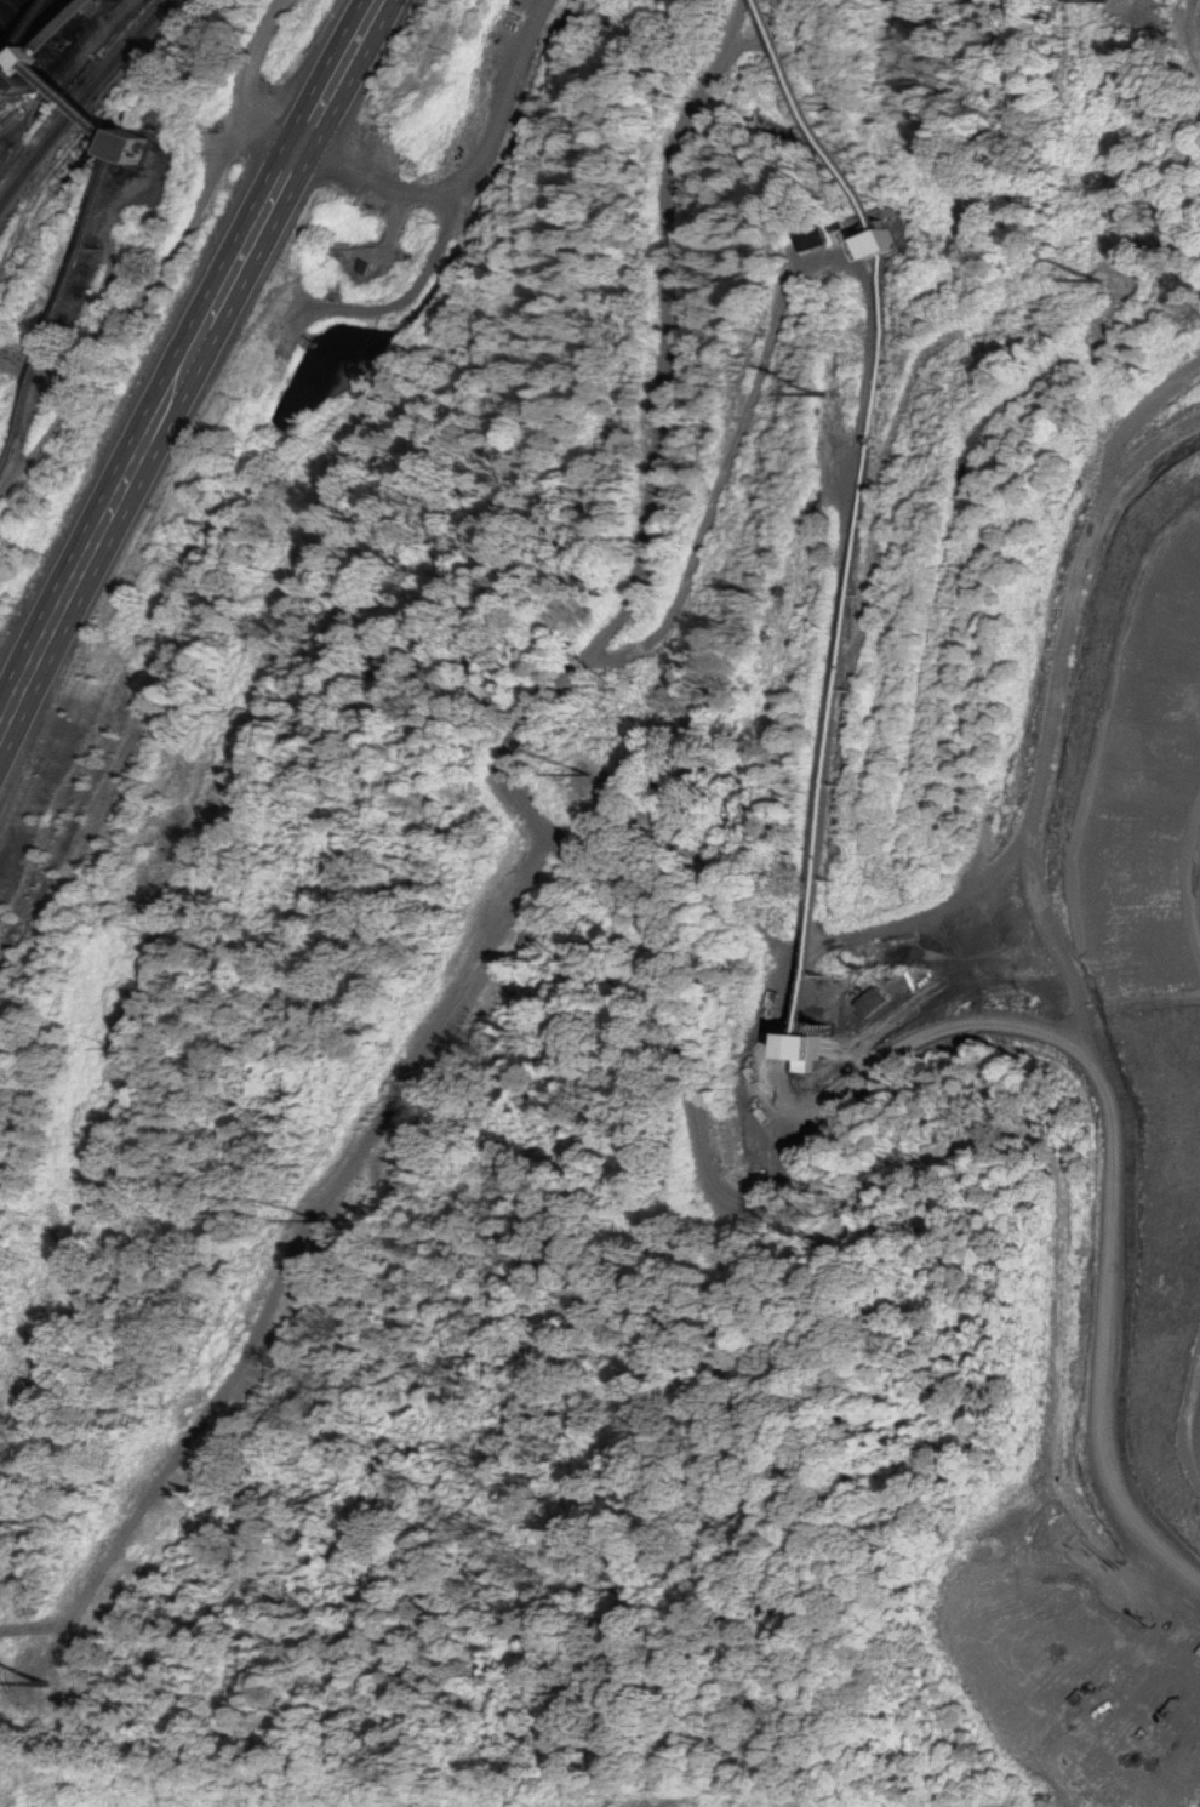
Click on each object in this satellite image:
road: (1189, 34)
railway: (80, 99)
building: (158, 146)
road: (463, 171)
road: (188, 358)
road: (1136, 421)
road: (1046, 740)
road: (759, 937)
quarry: (784, 1108)
road: (63, 1623)

